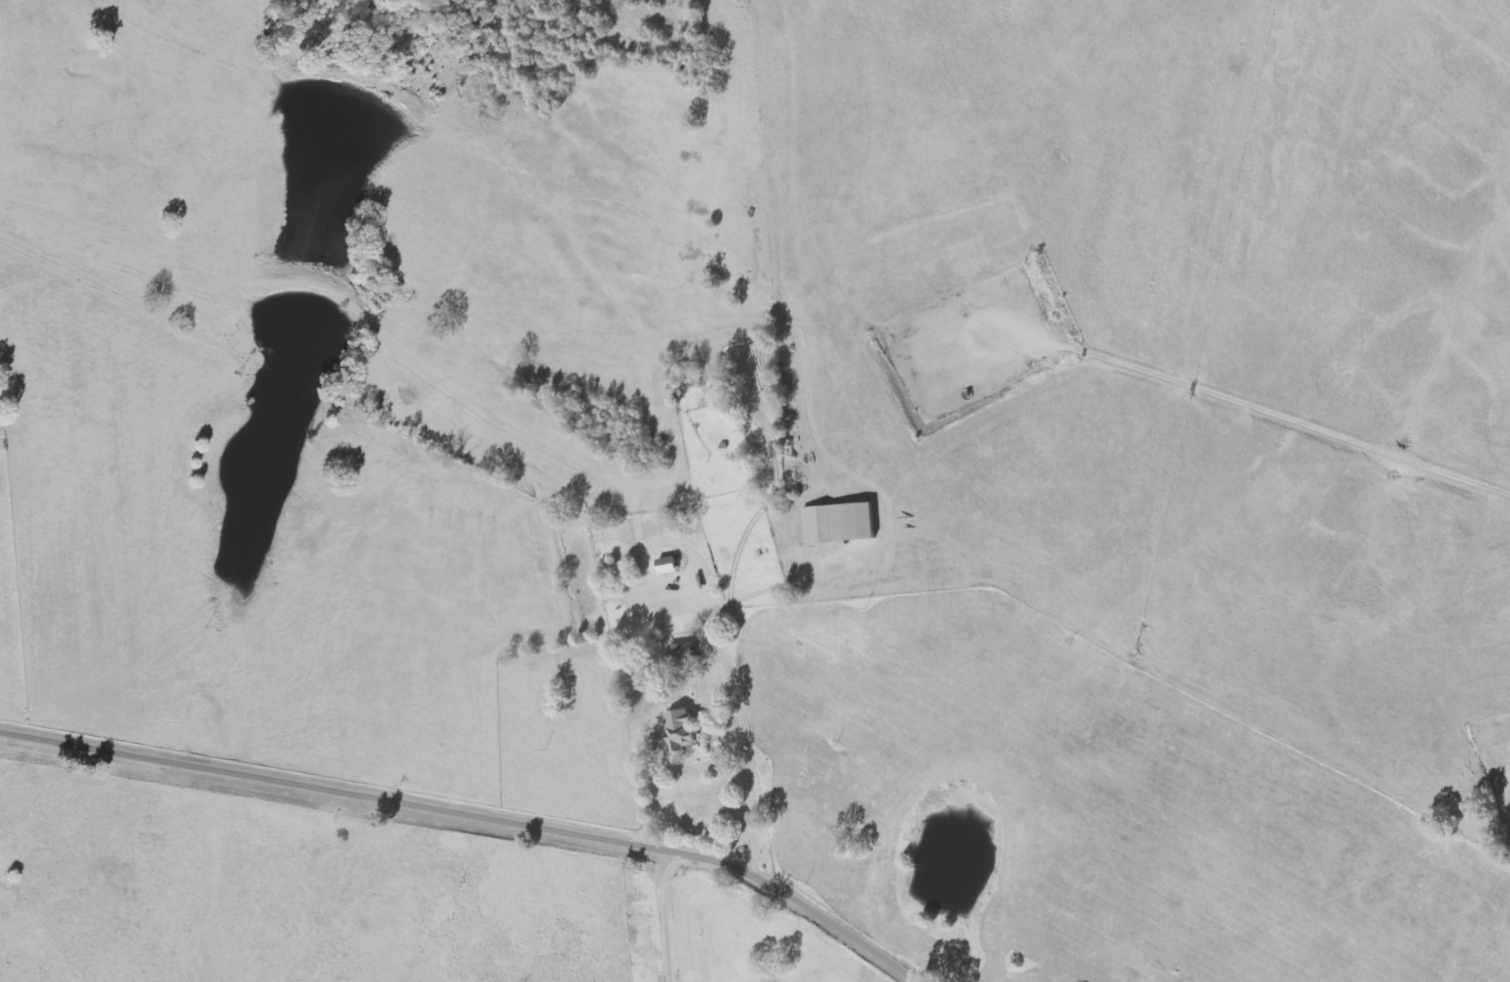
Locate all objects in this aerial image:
dam: (360, 82)
dam: (314, 288)
building: (840, 523)
building: (669, 566)
building: (621, 573)
building: (684, 653)
building: (683, 731)
road: (472, 816)

